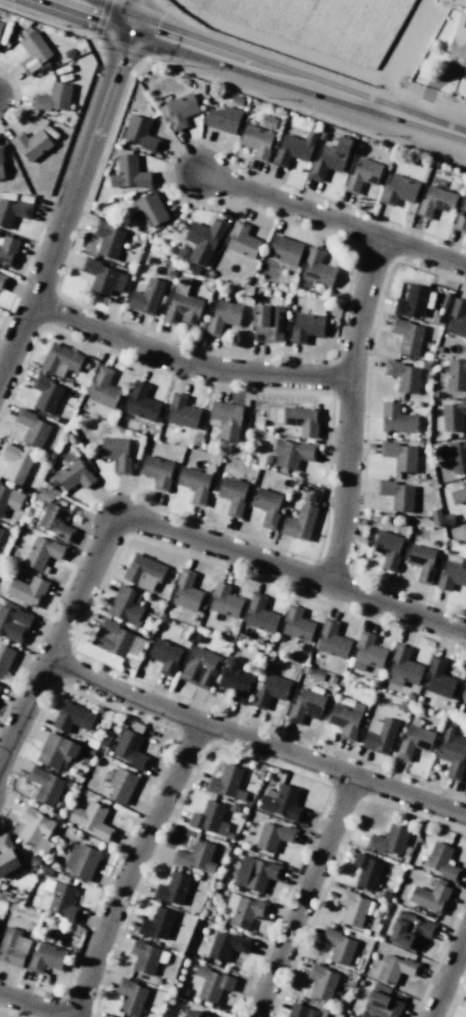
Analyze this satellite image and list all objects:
building: (0, 24)
crop: (325, 24)
building: (458, 39)
building: (33, 52)
road: (269, 68)
building: (54, 97)
building: (237, 100)
building: (178, 110)
building: (223, 119)
building: (140, 133)
building: (259, 138)
building: (31, 144)
building: (293, 149)
building: (329, 159)
building: (2, 164)
building: (129, 173)
building: (361, 175)
road: (73, 187)
building: (399, 190)
building: (435, 201)
building: (150, 208)
building: (13, 211)
building: (460, 220)
road: (333, 221)
building: (204, 238)
building: (107, 239)
building: (242, 240)
building: (285, 249)
building: (7, 250)
building: (317, 268)
building: (102, 277)
building: (2, 280)
building: (146, 297)
building: (411, 301)
building: (181, 305)
building: (222, 317)
building: (458, 317)
building: (268, 323)
building: (306, 327)
building: (407, 335)
building: (60, 360)
road: (186, 362)
building: (456, 374)
building: (402, 375)
building: (103, 388)
building: (45, 394)
building: (140, 402)
building: (181, 411)
road: (349, 411)
building: (453, 415)
building: (226, 419)
building: (301, 419)
building: (396, 419)
building: (31, 428)
building: (116, 453)
building: (290, 453)
building: (399, 455)
building: (458, 456)
building: (14, 463)
building: (156, 472)
building: (72, 476)
building: (194, 484)
building: (459, 493)
building: (232, 495)
building: (397, 495)
building: (9, 498)
building: (267, 506)
building: (436, 516)
building: (448, 519)
building: (300, 520)
building: (55, 522)
building: (0, 528)
road: (165, 529)
building: (1, 531)
building: (387, 549)
building: (42, 552)
building: (421, 562)
building: (143, 571)
building: (450, 576)
building: (26, 590)
building: (186, 592)
building: (224, 600)
building: (126, 606)
building: (260, 614)
building: (13, 622)
building: (296, 623)
building: (111, 638)
building: (331, 640)
building: (366, 653)
building: (165, 656)
building: (5, 659)
building: (402, 667)
building: (200, 668)
building: (313, 673)
building: (438, 678)
building: (331, 680)
building: (235, 681)
building: (464, 687)
building: (269, 690)
building: (410, 696)
building: (305, 705)
building: (402, 706)
building: (72, 717)
building: (345, 719)
building: (451, 721)
building: (100, 727)
building: (380, 735)
building: (414, 740)
road: (255, 742)
building: (56, 750)
building: (130, 750)
building: (452, 753)
building: (465, 782)
building: (226, 783)
building: (121, 784)
building: (45, 785)
building: (281, 802)
building: (209, 818)
building: (92, 819)
building: (35, 827)
building: (274, 836)
building: (390, 841)
building: (6, 855)
building: (196, 856)
building: (35, 859)
building: (81, 861)
building: (441, 861)
building: (366, 871)
building: (47, 872)
building: (255, 873)
road: (127, 876)
building: (172, 889)
road: (303, 896)
building: (430, 897)
building: (60, 902)
building: (353, 907)
building: (244, 909)
building: (157, 923)
building: (410, 930)
building: (226, 945)
building: (337, 946)
building: (13, 947)
building: (46, 957)
building: (144, 957)
building: (396, 968)
road: (448, 975)
building: (321, 981)
building: (211, 984)
building: (130, 996)
road: (23, 1003)
building: (380, 1003)
building: (304, 1011)
building: (192, 1014)
building: (177, 1016)

